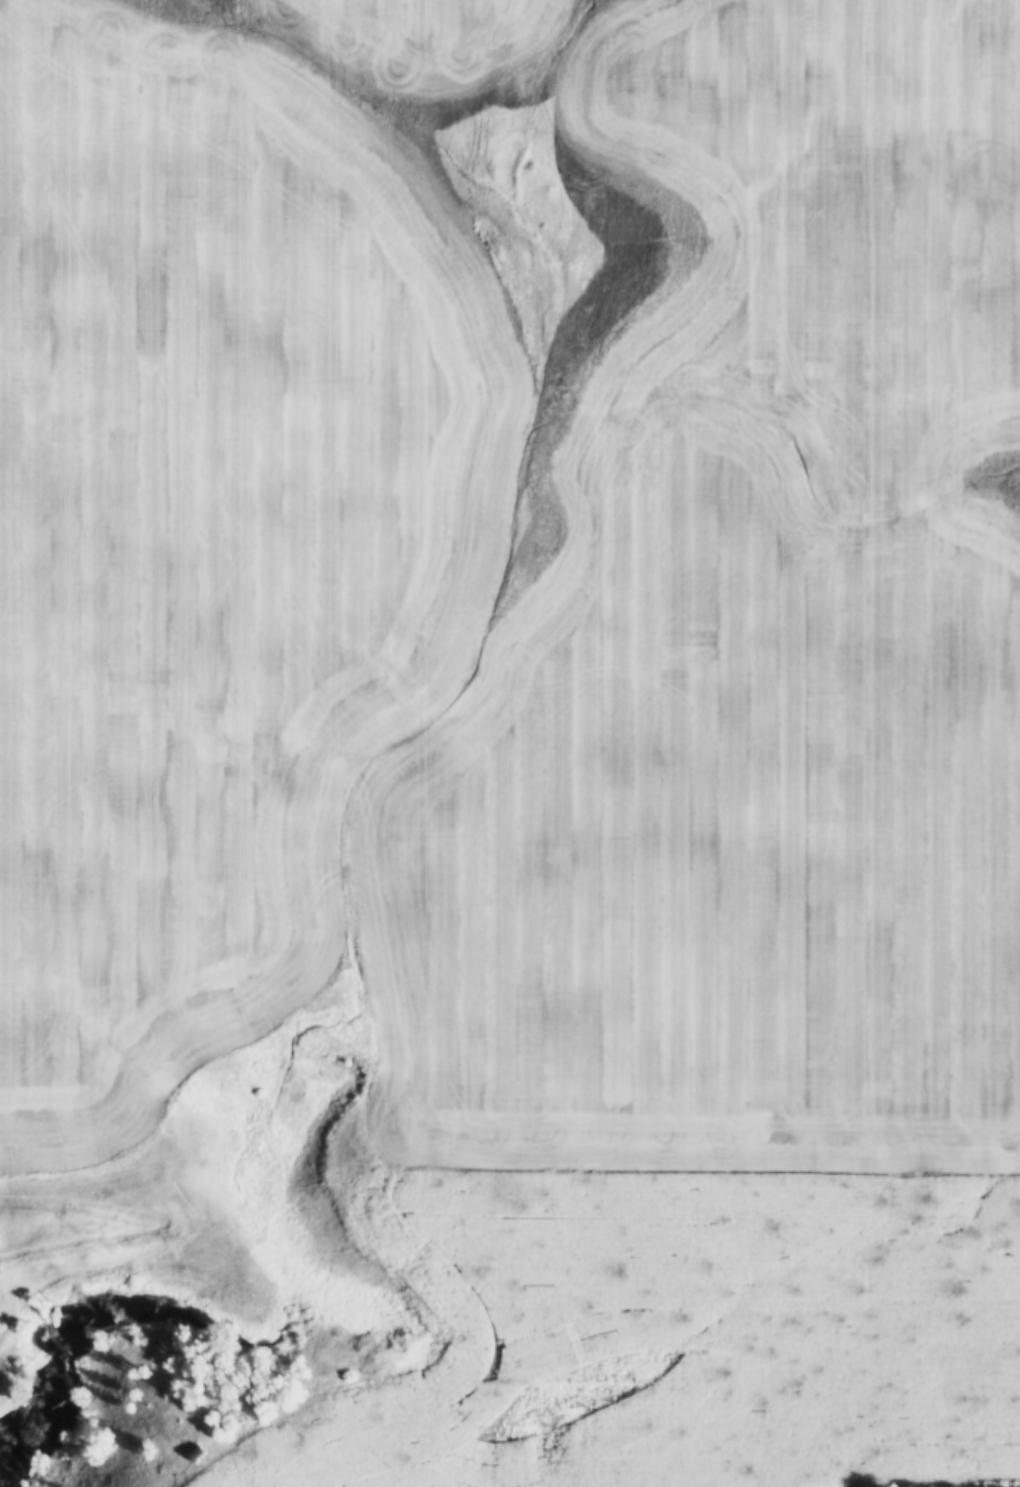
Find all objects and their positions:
building: (190, 1452)

